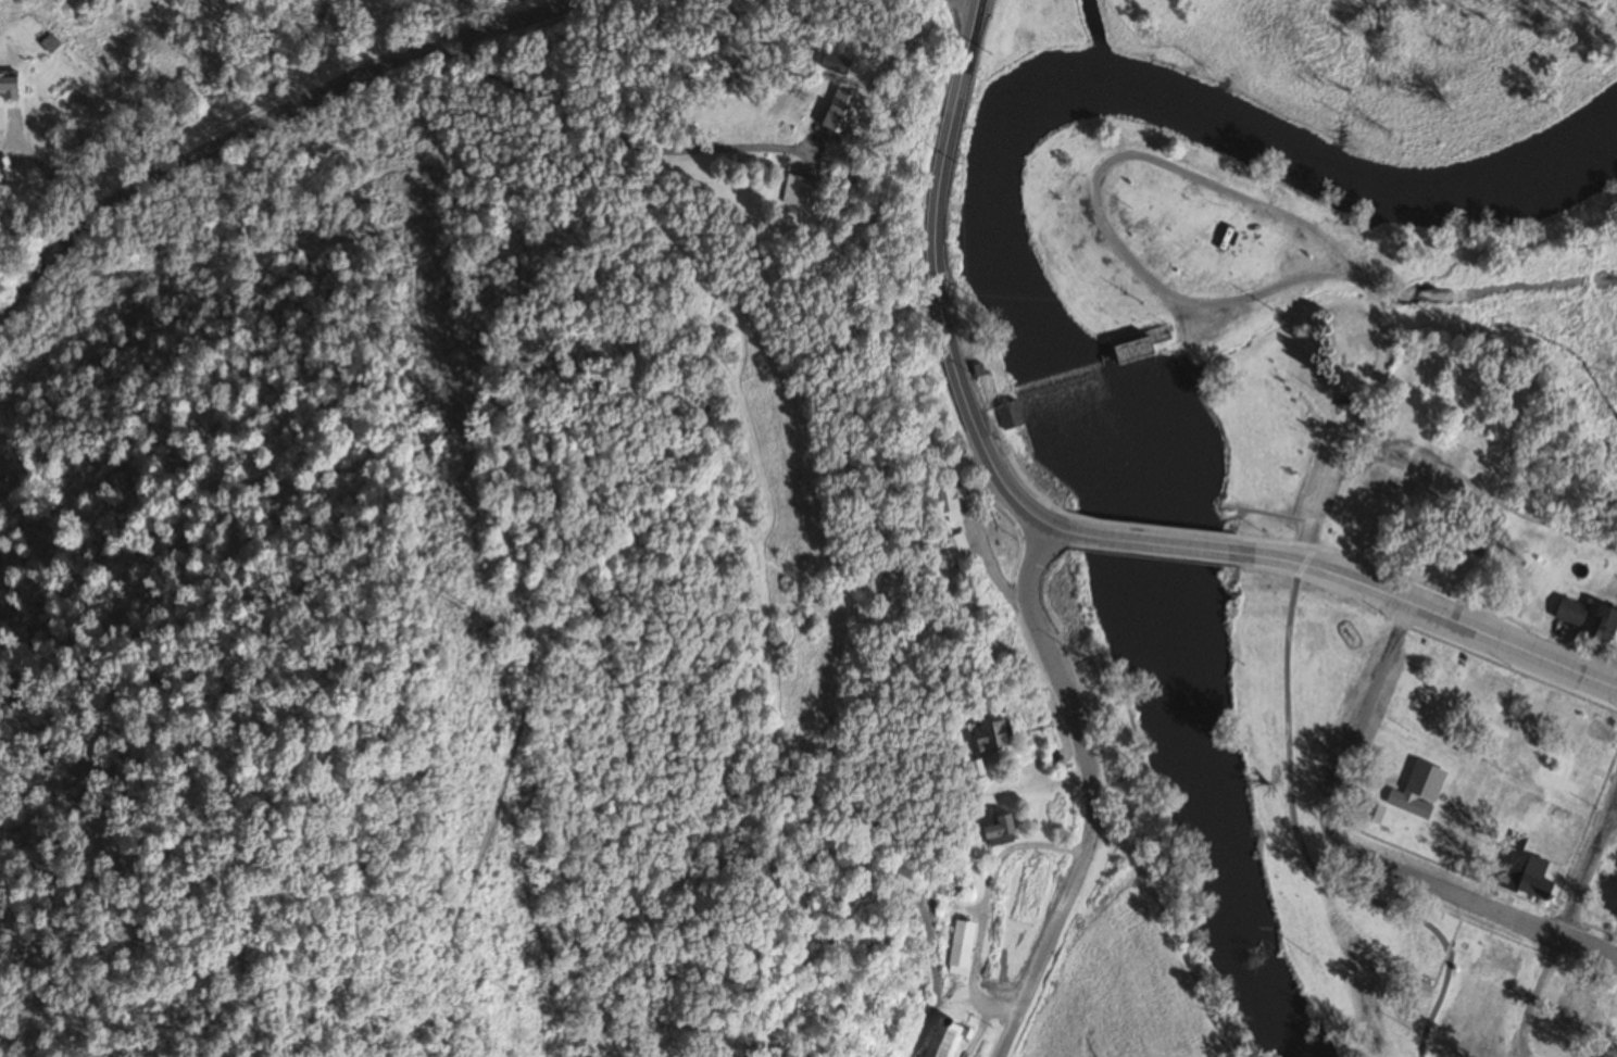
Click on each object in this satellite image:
building: (45, 39)
building: (831, 66)
building: (8, 87)
building: (832, 114)
road: (275, 131)
road: (619, 136)
building: (799, 193)
building: (1168, 212)
road: (1099, 215)
river: (1018, 289)
road: (938, 294)
park: (1218, 301)
building: (1140, 345)
dam: (1061, 375)
building: (985, 387)
road: (1363, 397)
building: (1008, 418)
building: (1383, 489)
building: (949, 503)
building: (956, 546)
road: (1182, 546)
road: (988, 565)
building: (1568, 612)
road: (1451, 619)
building: (1601, 622)
road: (1361, 720)
building: (1596, 730)
building: (988, 733)
building: (1417, 790)
road: (1091, 793)
building: (1369, 811)
building: (1558, 815)
road: (1613, 821)
building: (995, 830)
road: (1588, 870)
building: (1522, 871)
road: (1465, 901)
building: (1614, 909)
building: (958, 948)
building: (1419, 989)
road: (1537, 996)
crop: (1086, 1006)
building: (940, 1039)

